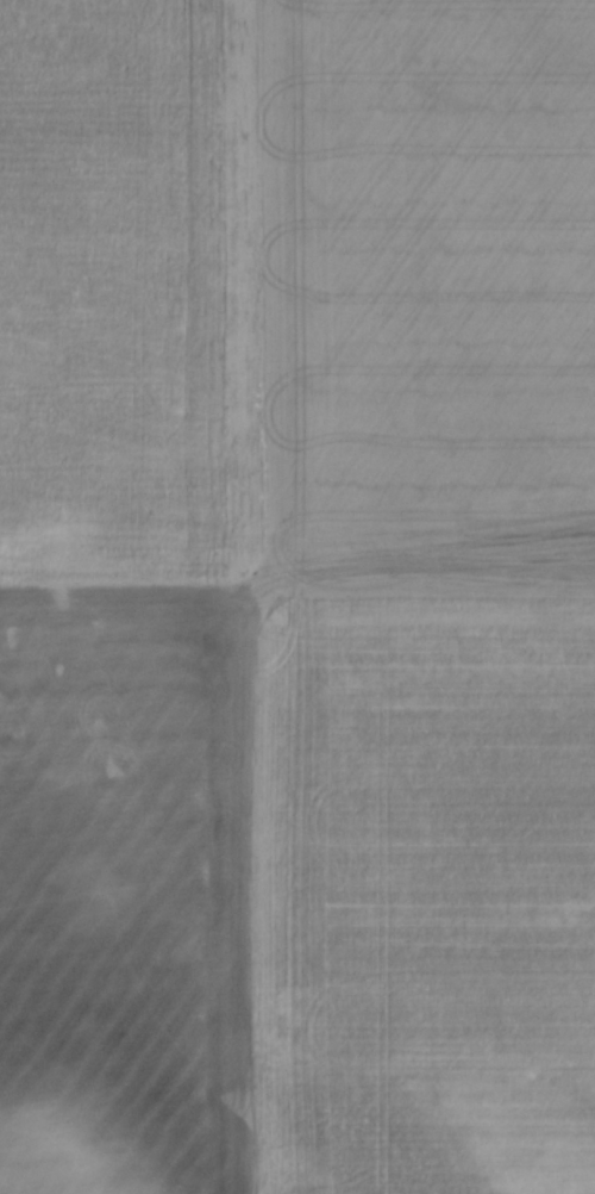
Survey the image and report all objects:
crop: (297, 597)

